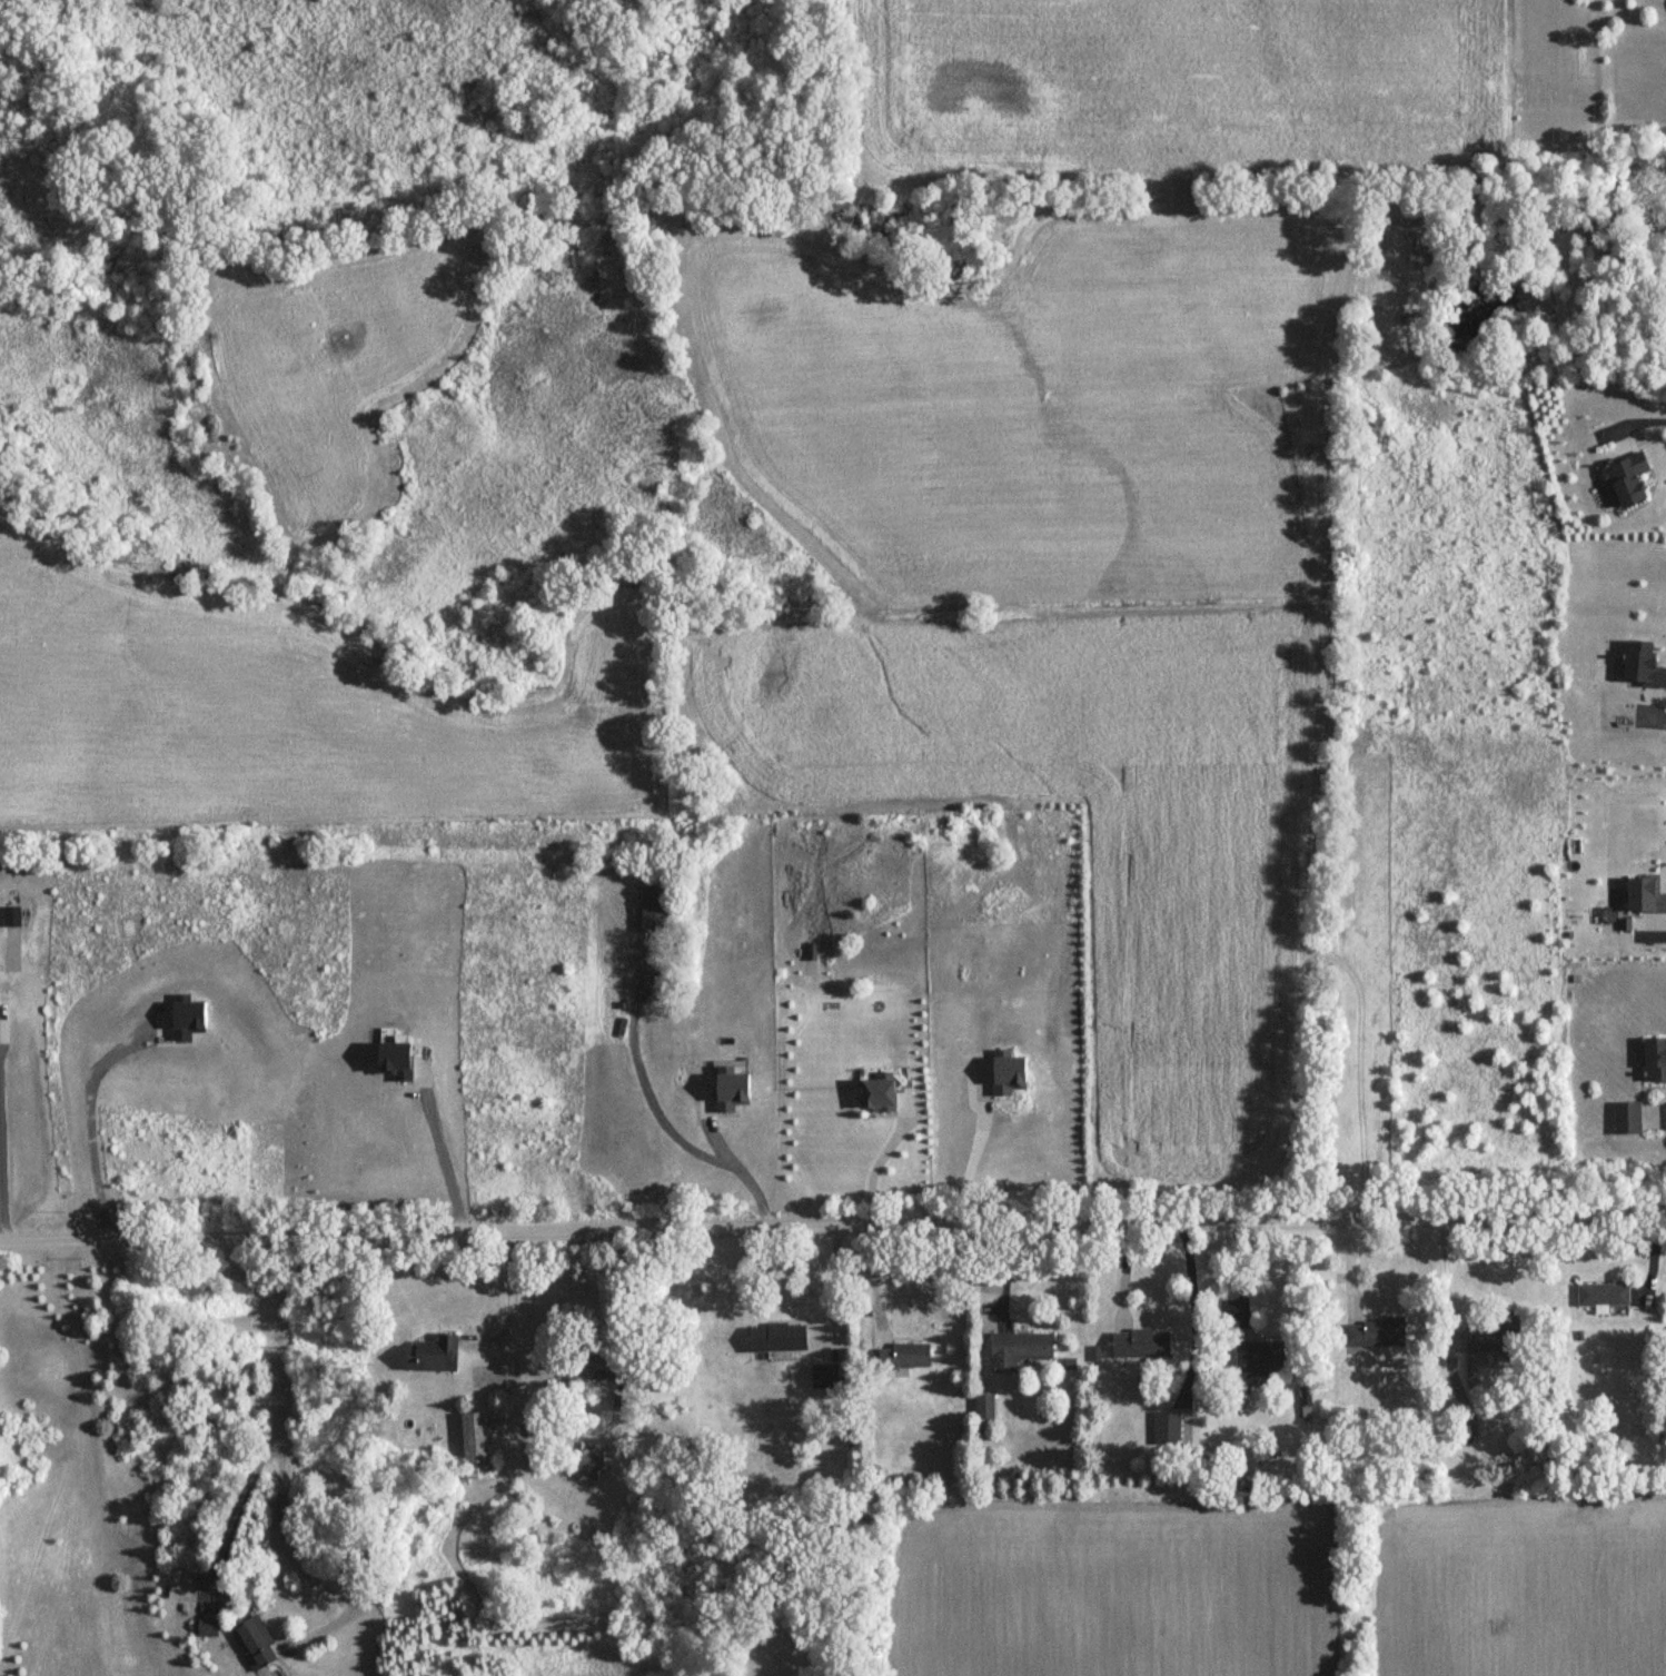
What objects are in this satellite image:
crop: (1193, 85)
crop: (1012, 414)
road: (1643, 419)
building: (1622, 477)
crop: (41, 595)
building: (1638, 666)
road: (1665, 722)
crop: (305, 743)
crop: (1083, 826)
building: (1639, 895)
road: (1664, 931)
building: (187, 1016)
building: (391, 1058)
building: (1653, 1061)
road: (639, 1071)
building: (1004, 1072)
building: (730, 1092)
building: (876, 1097)
road: (1655, 1115)
building: (1626, 1118)
road: (89, 1122)
road: (442, 1152)
road: (879, 1157)
road: (741, 1170)
road: (0, 1180)
road: (832, 1224)
building: (1600, 1297)
road: (1187, 1306)
road: (512, 1323)
building: (1372, 1333)
building: (775, 1337)
building: (1493, 1337)
building: (1139, 1345)
building: (1015, 1349)
building: (433, 1355)
building: (902, 1356)
building: (1259, 1358)
building: (595, 1365)
building: (825, 1377)
building: (978, 1408)
road: (274, 1422)
building: (1166, 1429)
building: (474, 1436)
building: (588, 1461)
building: (43, 1494)
road: (280, 1548)
building: (0, 1551)
crop: (1519, 1590)
crop: (1113, 1591)
building: (206, 1627)
building: (254, 1642)

